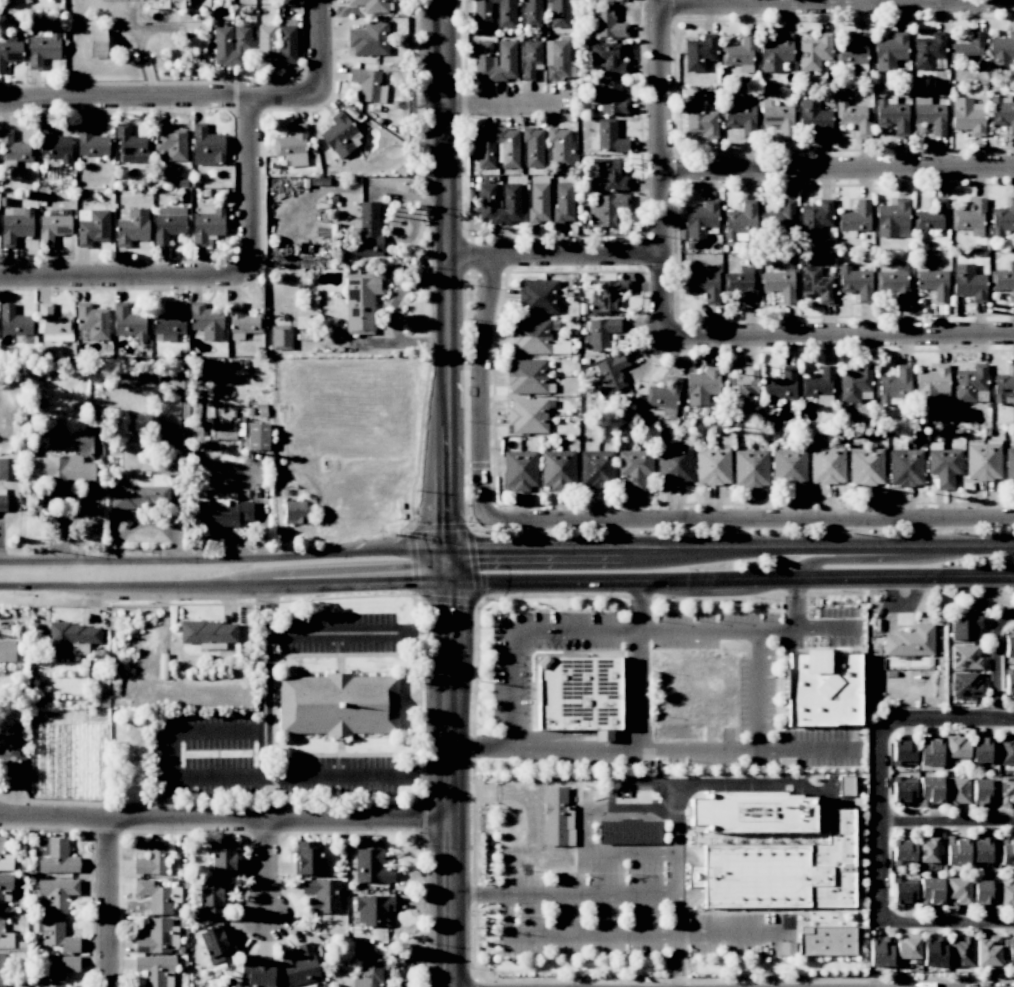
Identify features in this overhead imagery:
building: (173, 3)
building: (370, 5)
building: (558, 13)
building: (531, 14)
building: (505, 15)
building: (606, 22)
building: (368, 39)
building: (97, 40)
building: (277, 43)
building: (230, 44)
road: (323, 47)
building: (43, 48)
building: (9, 50)
building: (928, 50)
building: (967, 50)
building: (853, 51)
building: (775, 52)
building: (813, 52)
building: (1001, 52)
building: (699, 53)
building: (891, 53)
building: (738, 54)
building: (531, 57)
building: (607, 58)
building: (558, 59)
building: (494, 60)
building: (368, 85)
building: (607, 97)
road: (161, 100)
road: (505, 104)
building: (1002, 112)
building: (929, 114)
building: (891, 115)
building: (852, 116)
building: (967, 116)
building: (739, 117)
building: (777, 117)
building: (814, 118)
building: (700, 119)
building: (338, 135)
building: (607, 137)
building: (90, 142)
building: (169, 142)
building: (53, 145)
building: (131, 145)
building: (206, 146)
building: (559, 146)
building: (291, 147)
building: (532, 147)
building: (13, 148)
building: (485, 155)
road: (839, 167)
road: (664, 168)
building: (609, 174)
road: (251, 189)
building: (510, 195)
building: (538, 199)
building: (563, 202)
building: (607, 210)
building: (930, 216)
building: (779, 217)
building: (891, 217)
building: (970, 217)
building: (815, 218)
building: (855, 218)
building: (700, 219)
building: (1003, 219)
building: (740, 221)
building: (168, 223)
building: (207, 225)
building: (16, 226)
building: (92, 227)
building: (132, 227)
building: (52, 228)
building: (368, 231)
road: (556, 255)
road: (126, 280)
building: (1003, 280)
building: (703, 282)
building: (780, 282)
building: (855, 282)
building: (894, 282)
building: (932, 282)
building: (968, 282)
building: (815, 284)
building: (741, 285)
road: (446, 290)
building: (608, 295)
building: (538, 297)
building: (361, 302)
road: (391, 314)
building: (243, 320)
building: (206, 321)
building: (13, 322)
building: (52, 322)
building: (91, 323)
building: (129, 323)
building: (169, 323)
building: (600, 333)
building: (280, 336)
road: (841, 336)
building: (533, 338)
building: (611, 373)
building: (526, 376)
building: (741, 384)
building: (855, 384)
building: (931, 384)
building: (971, 384)
building: (895, 385)
building: (702, 386)
building: (780, 386)
building: (819, 386)
road: (483, 388)
building: (1004, 388)
building: (663, 394)
building: (527, 415)
building: (171, 436)
building: (257, 436)
building: (983, 461)
building: (675, 462)
building: (827, 464)
building: (944, 465)
building: (713, 466)
building: (866, 466)
building: (1009, 466)
building: (789, 467)
building: (635, 468)
building: (750, 468)
building: (905, 468)
building: (8, 469)
building: (59, 469)
building: (558, 469)
building: (596, 469)
building: (519, 470)
building: (141, 493)
building: (2, 499)
building: (294, 512)
building: (222, 514)
road: (750, 519)
road: (477, 524)
road: (438, 526)
road: (890, 547)
traffic signals: (444, 553)
road: (605, 553)
road: (858, 558)
road: (222, 559)
road: (413, 561)
road: (473, 564)
road: (936, 576)
road: (651, 580)
traffic signals: (444, 581)
road: (222, 585)
road: (980, 593)
road: (488, 597)
road: (448, 599)
road: (799, 602)
road: (639, 605)
road: (1006, 618)
road: (747, 628)
building: (965, 628)
road: (519, 631)
road: (328, 632)
building: (208, 634)
building: (71, 638)
building: (910, 641)
building: (1009, 644)
building: (7, 650)
building: (965, 657)
road: (444, 664)
road: (995, 669)
building: (1009, 681)
building: (965, 684)
road: (639, 688)
building: (822, 688)
building: (581, 692)
building: (334, 704)
road: (949, 715)
road: (541, 747)
road: (758, 747)
road: (809, 748)
building: (956, 749)
building: (980, 750)
building: (1005, 750)
road: (173, 753)
building: (903, 753)
building: (929, 753)
building: (11, 756)
road: (284, 773)
building: (845, 785)
building: (956, 790)
building: (903, 791)
building: (929, 791)
building: (1005, 791)
road: (512, 792)
building: (983, 792)
building: (752, 811)
road: (946, 817)
road: (877, 820)
road: (221, 823)
building: (559, 823)
road: (583, 829)
building: (930, 849)
road: (674, 850)
building: (983, 850)
building: (1006, 850)
building: (903, 851)
building: (956, 851)
building: (55, 856)
building: (4, 858)
building: (152, 858)
building: (222, 858)
building: (306, 858)
building: (371, 866)
road: (444, 867)
building: (781, 870)
road: (269, 874)
building: (5, 889)
building: (903, 891)
building: (930, 892)
building: (957, 892)
building: (56, 893)
building: (322, 894)
building: (983, 894)
building: (210, 896)
building: (1006, 896)
road: (112, 903)
road: (675, 905)
building: (372, 910)
road: (949, 922)
road: (703, 934)
building: (5, 935)
building: (57, 935)
building: (156, 937)
building: (215, 944)
building: (824, 945)
building: (787, 948)
building: (907, 950)
building: (1008, 950)
building: (960, 951)
building: (987, 951)
building: (880, 952)
building: (934, 952)
building: (300, 966)
building: (1, 969)
building: (155, 970)
building: (58, 971)
building: (255, 973)
building: (368, 973)
road: (474, 982)

